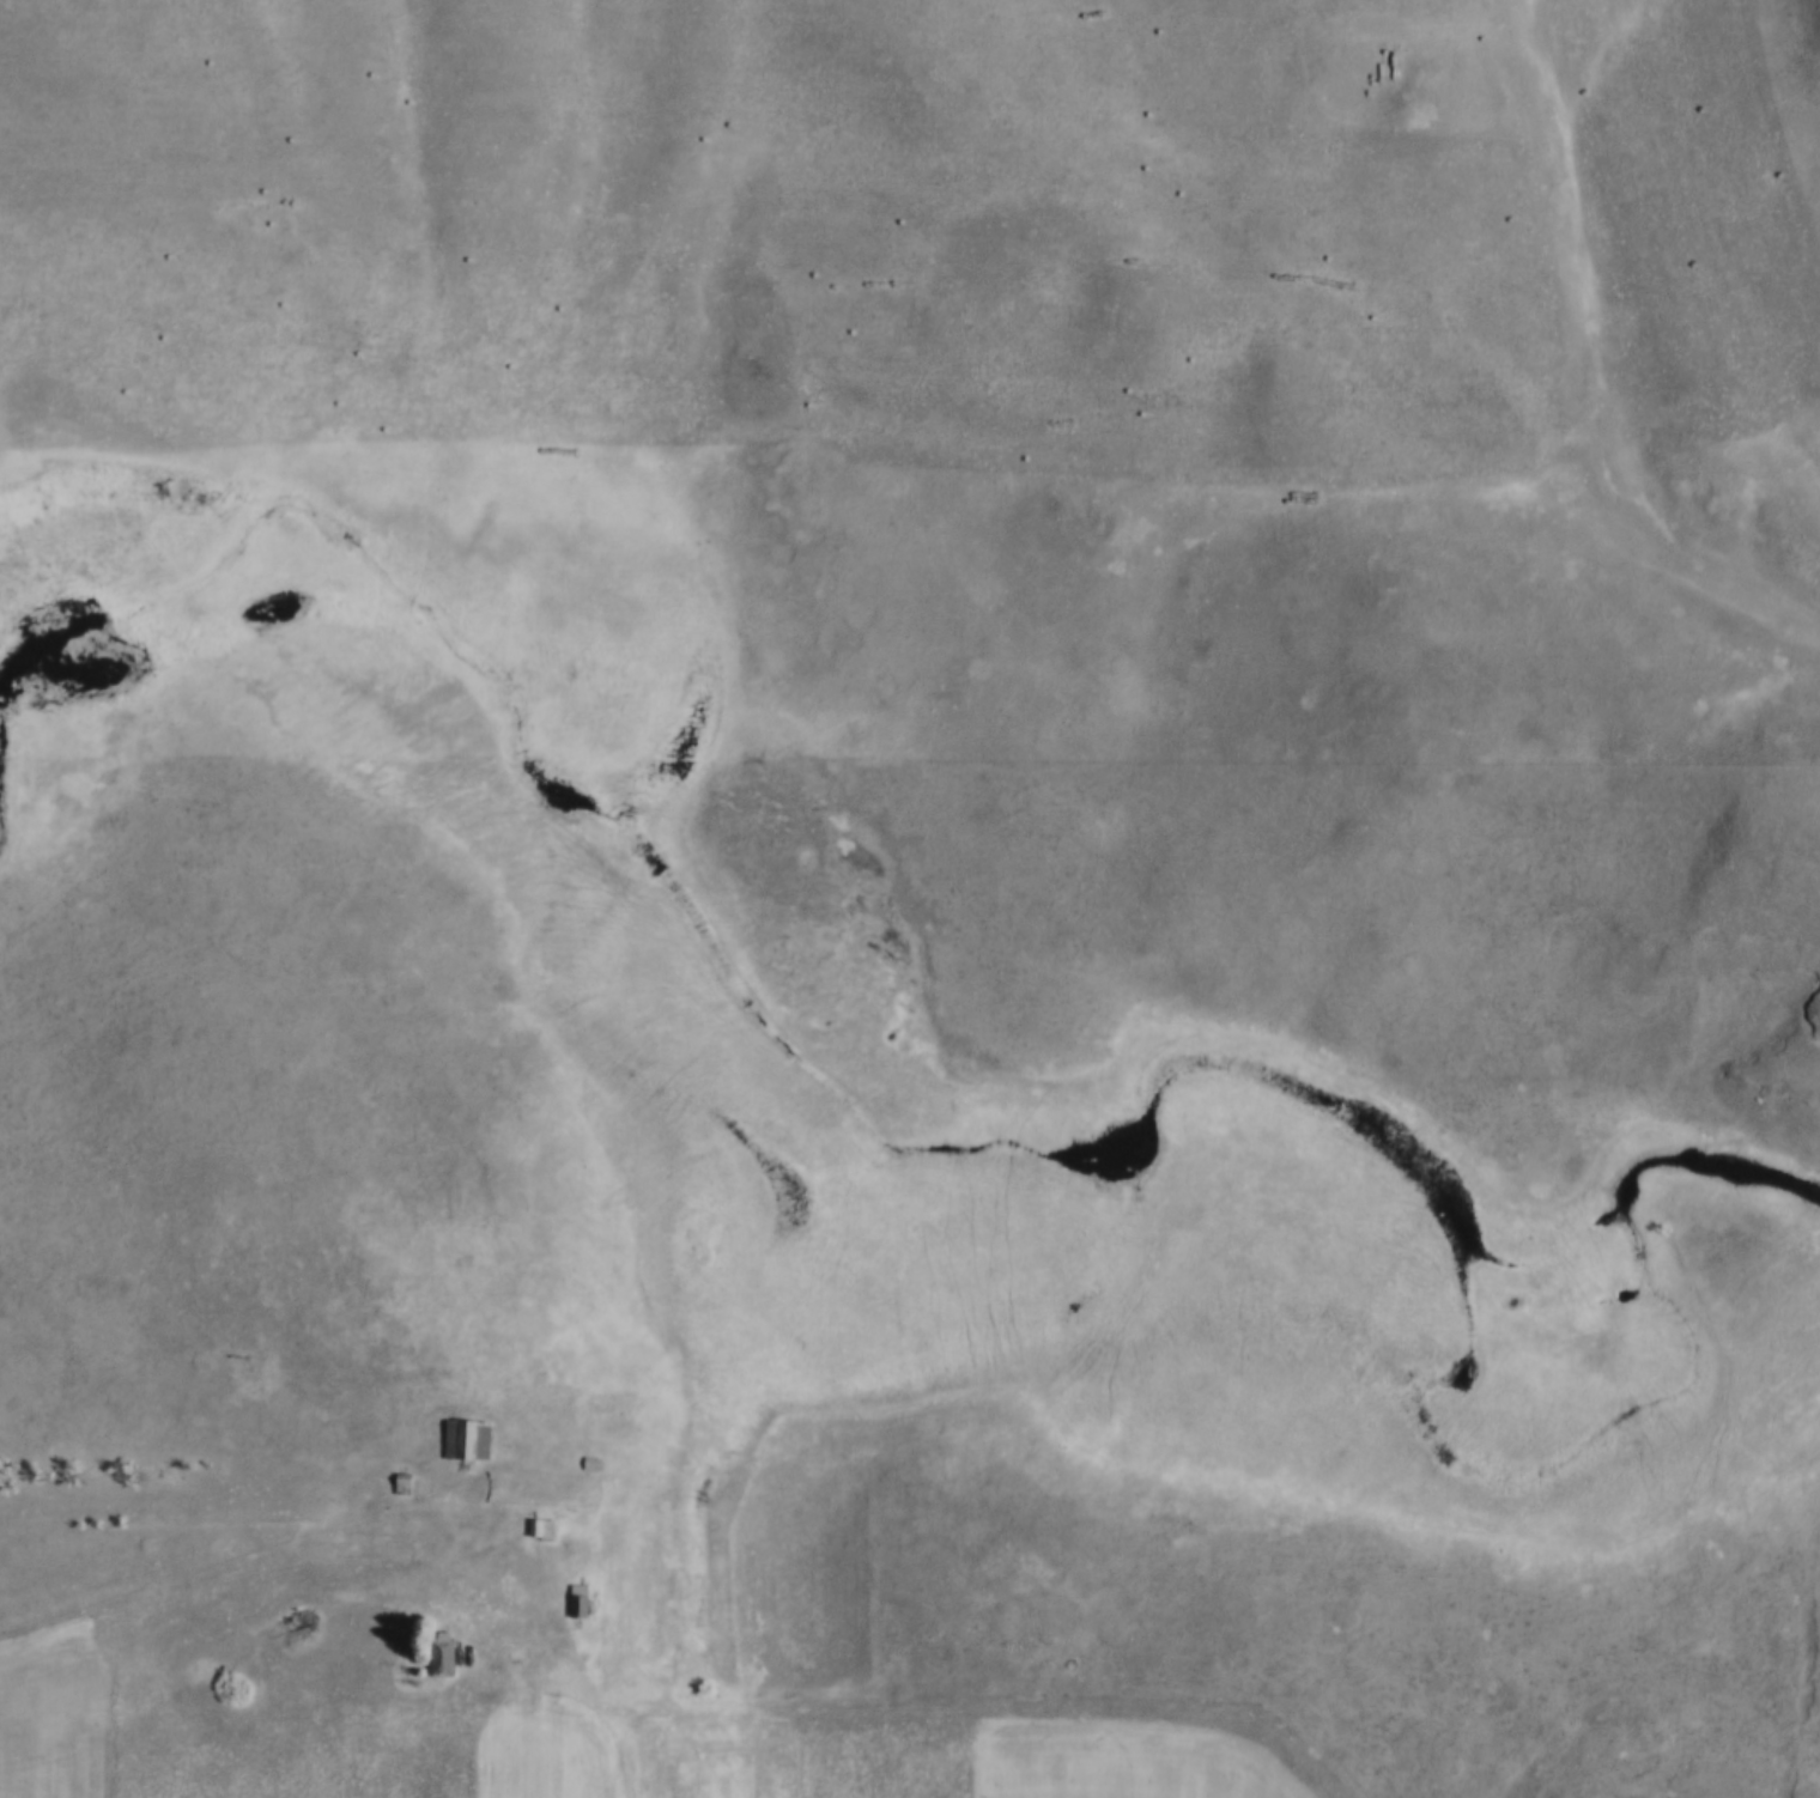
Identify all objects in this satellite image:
building: (596, 1402)
building: (466, 1438)
building: (404, 1483)
building: (540, 1527)
road: (242, 1569)
building: (575, 1599)
building: (441, 1652)
road: (1804, 1684)

